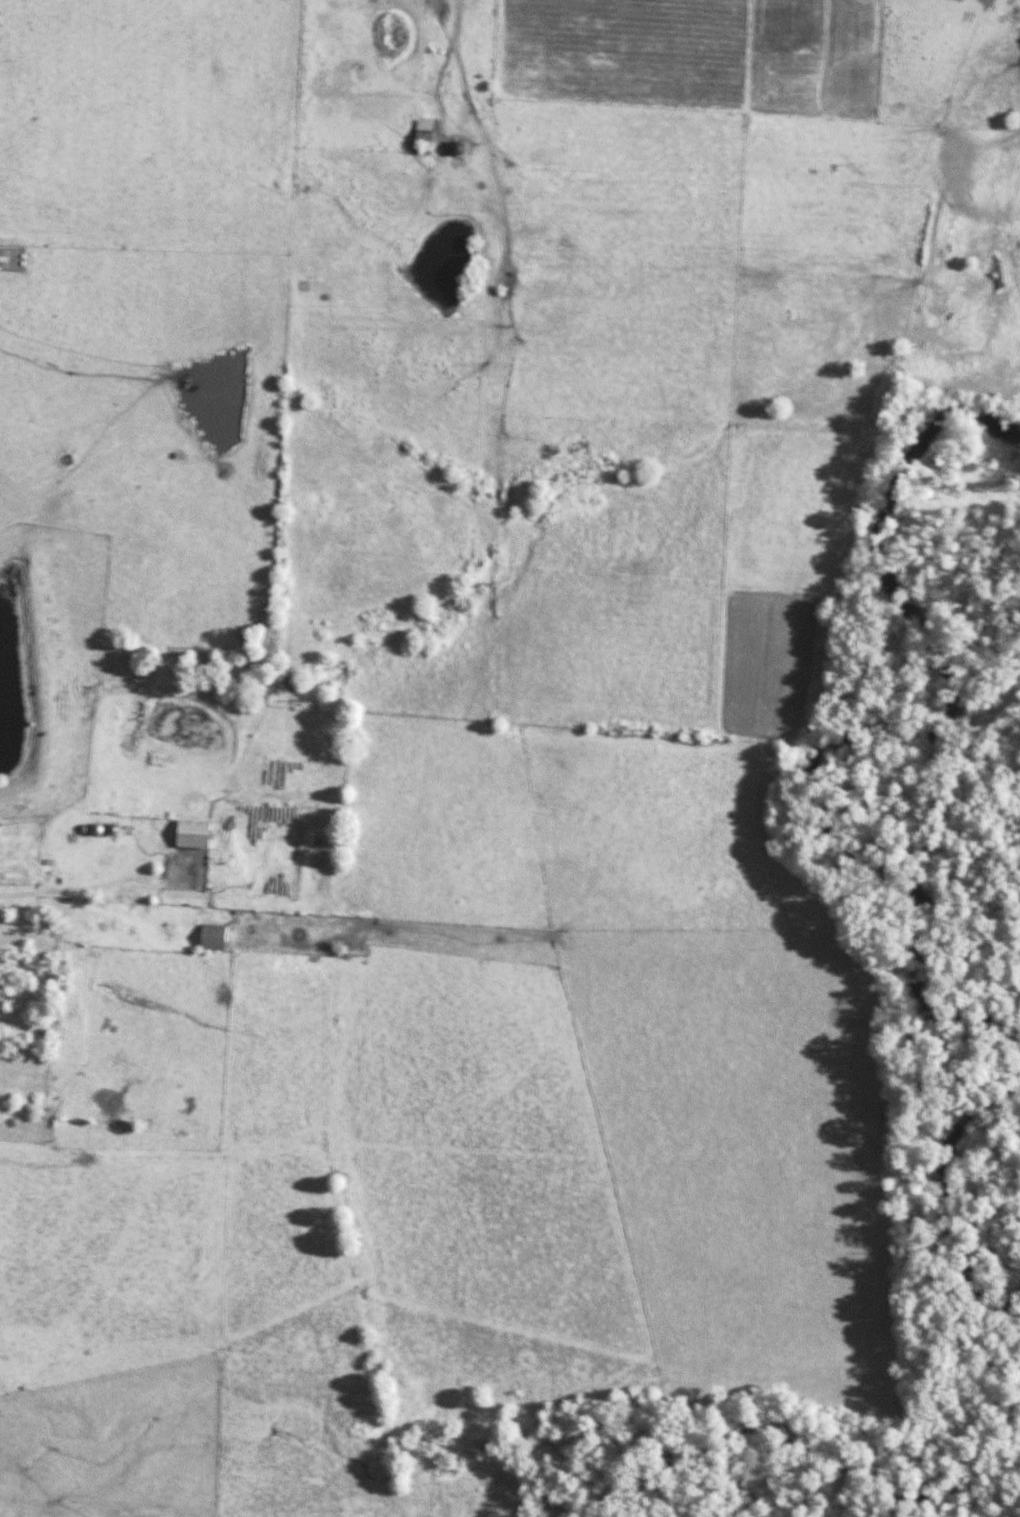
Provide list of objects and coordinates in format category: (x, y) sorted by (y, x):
building: (424, 136)
building: (193, 834)
road: (280, 905)

